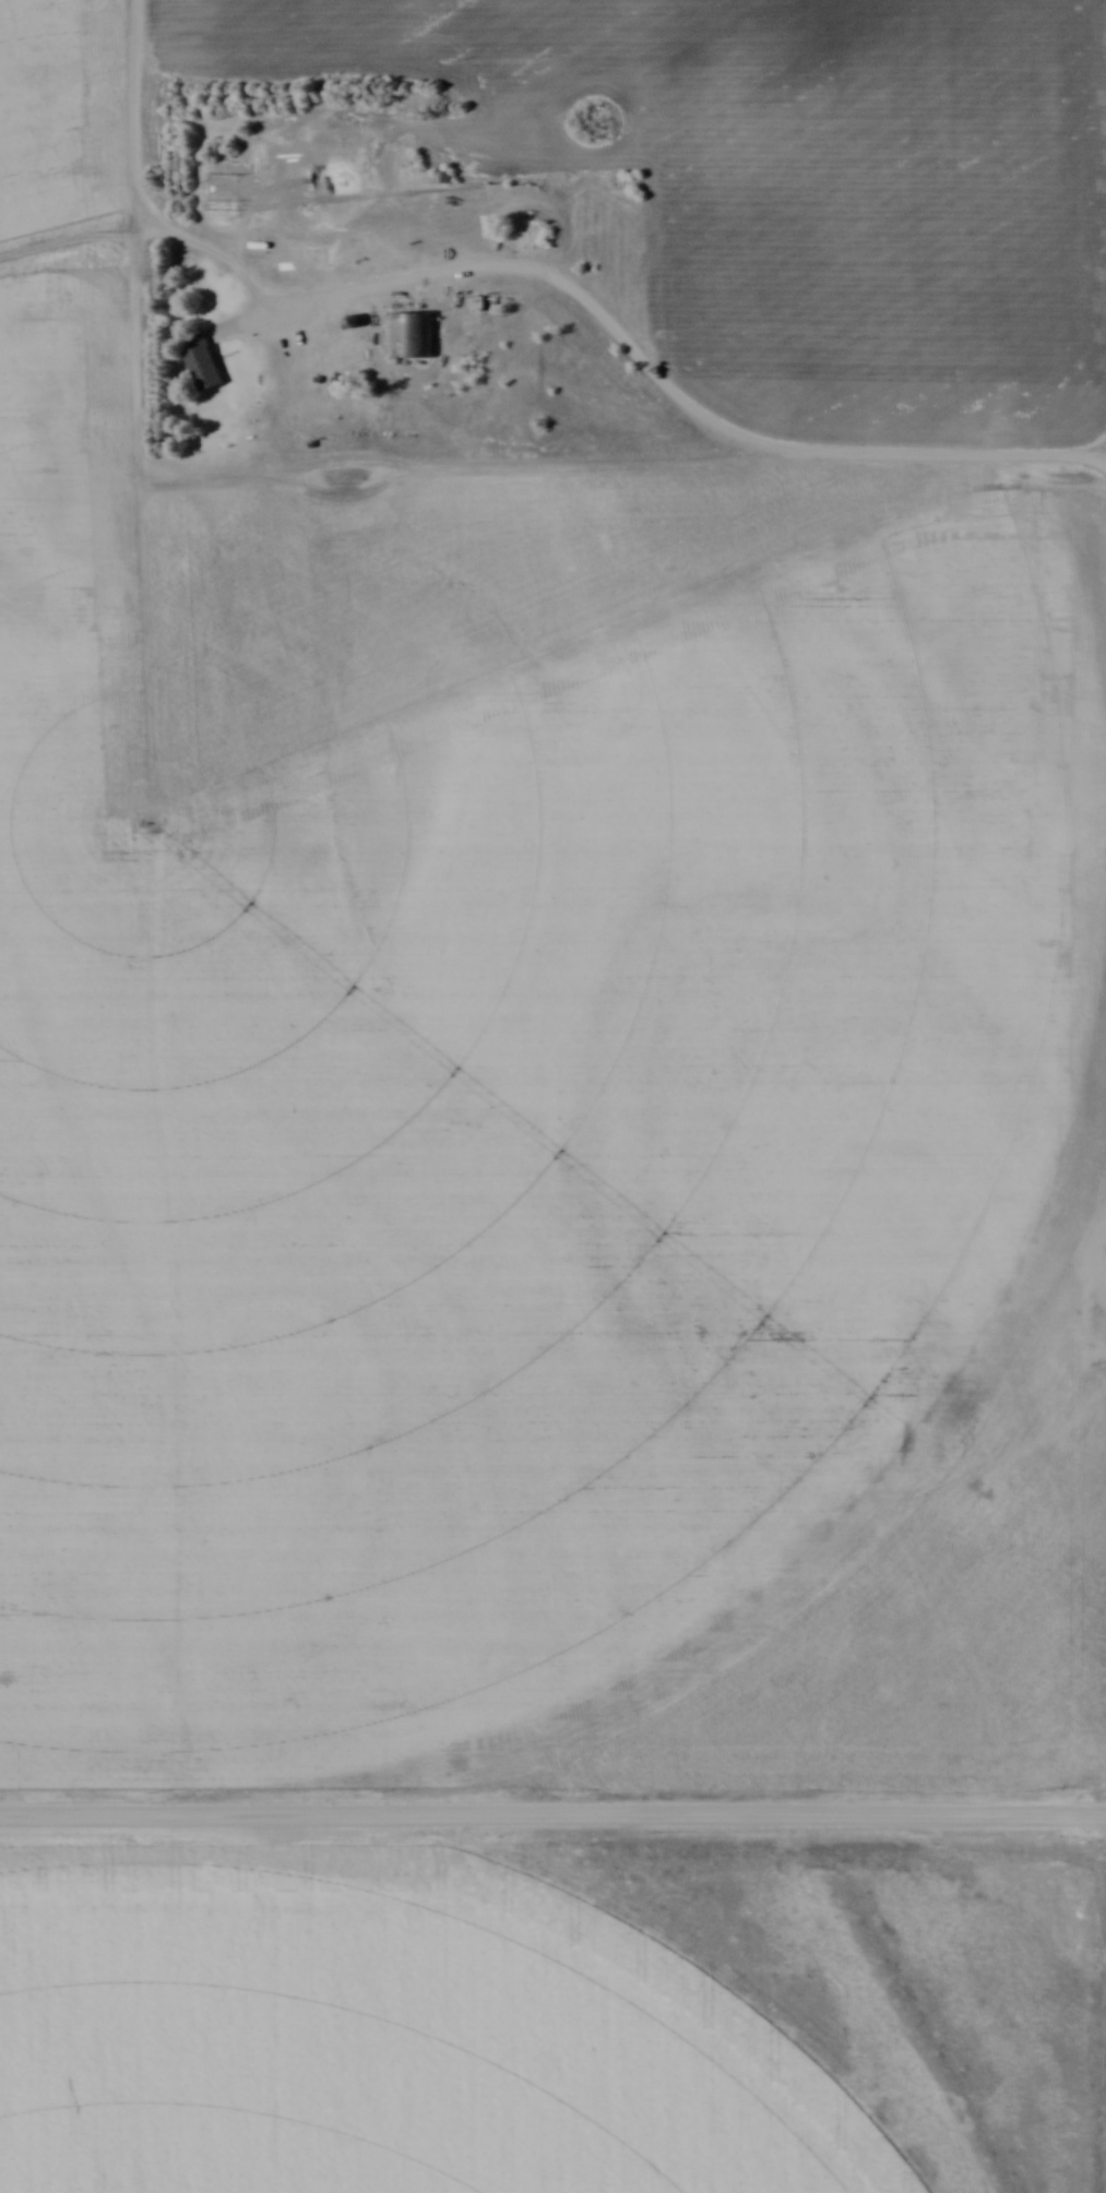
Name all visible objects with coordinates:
building: (412, 169)
building: (413, 335)
building: (205, 363)
road: (675, 392)
road: (552, 1814)

